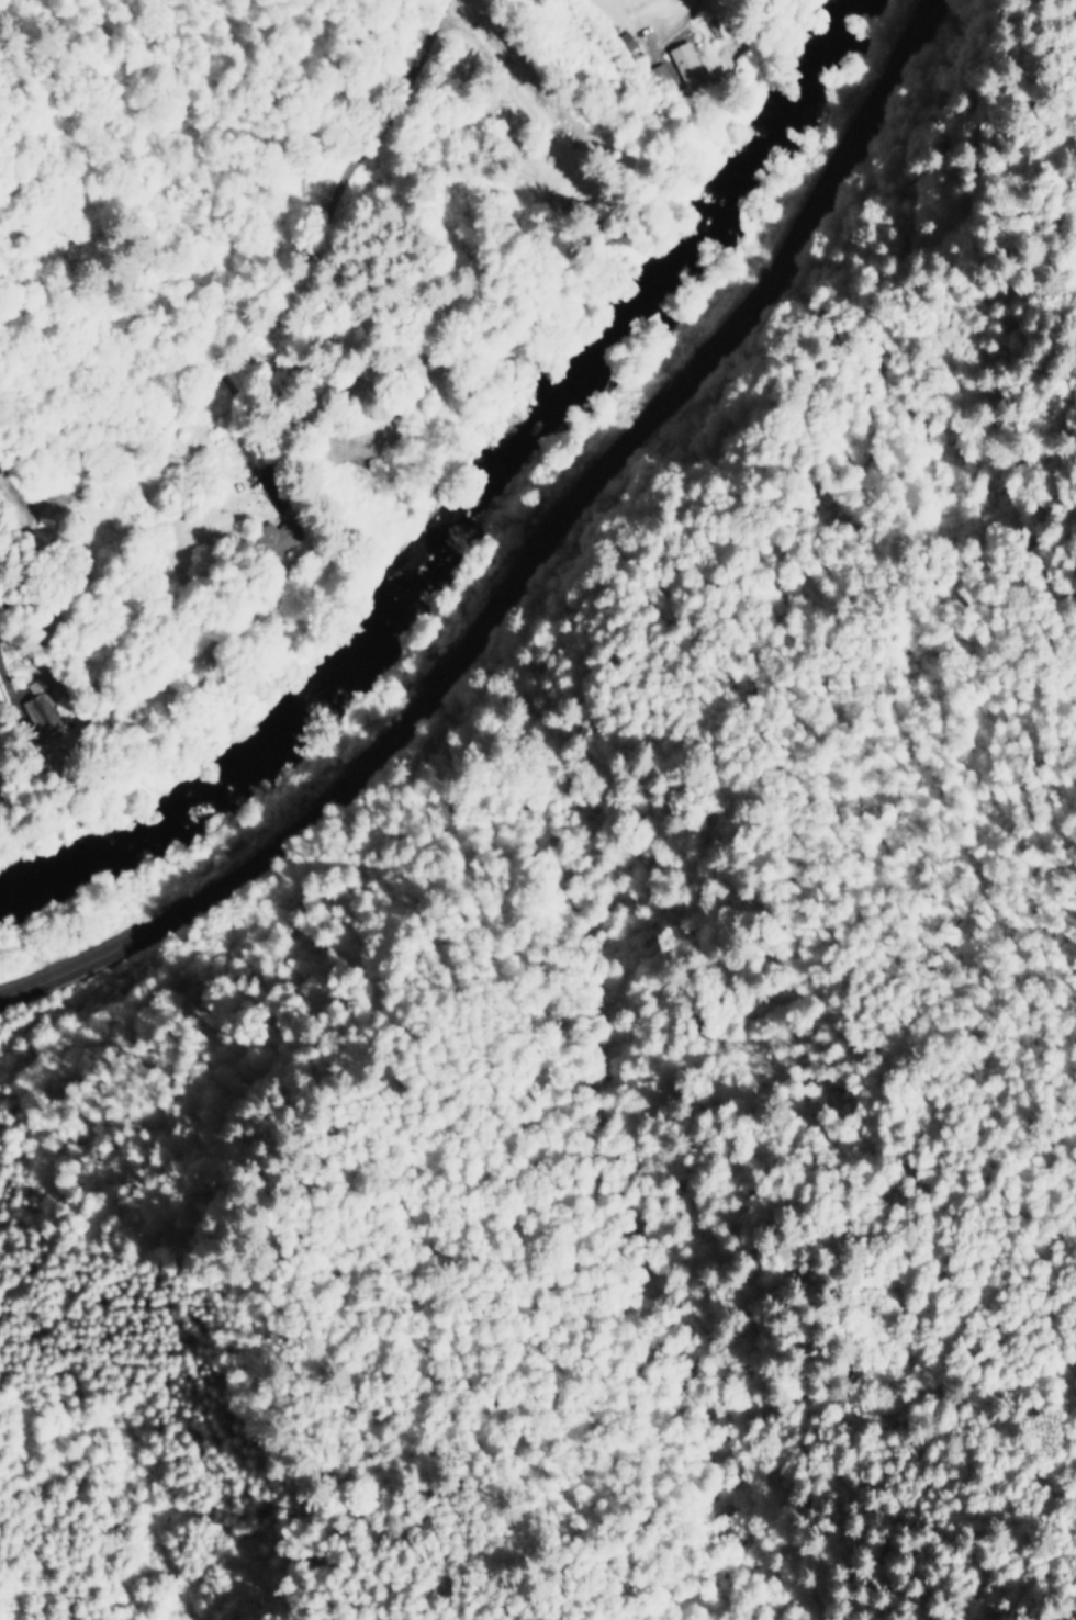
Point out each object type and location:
building: (623, 42)
building: (682, 63)
building: (654, 74)
road: (265, 288)
river: (480, 506)
building: (273, 538)
road: (528, 559)
building: (36, 706)

